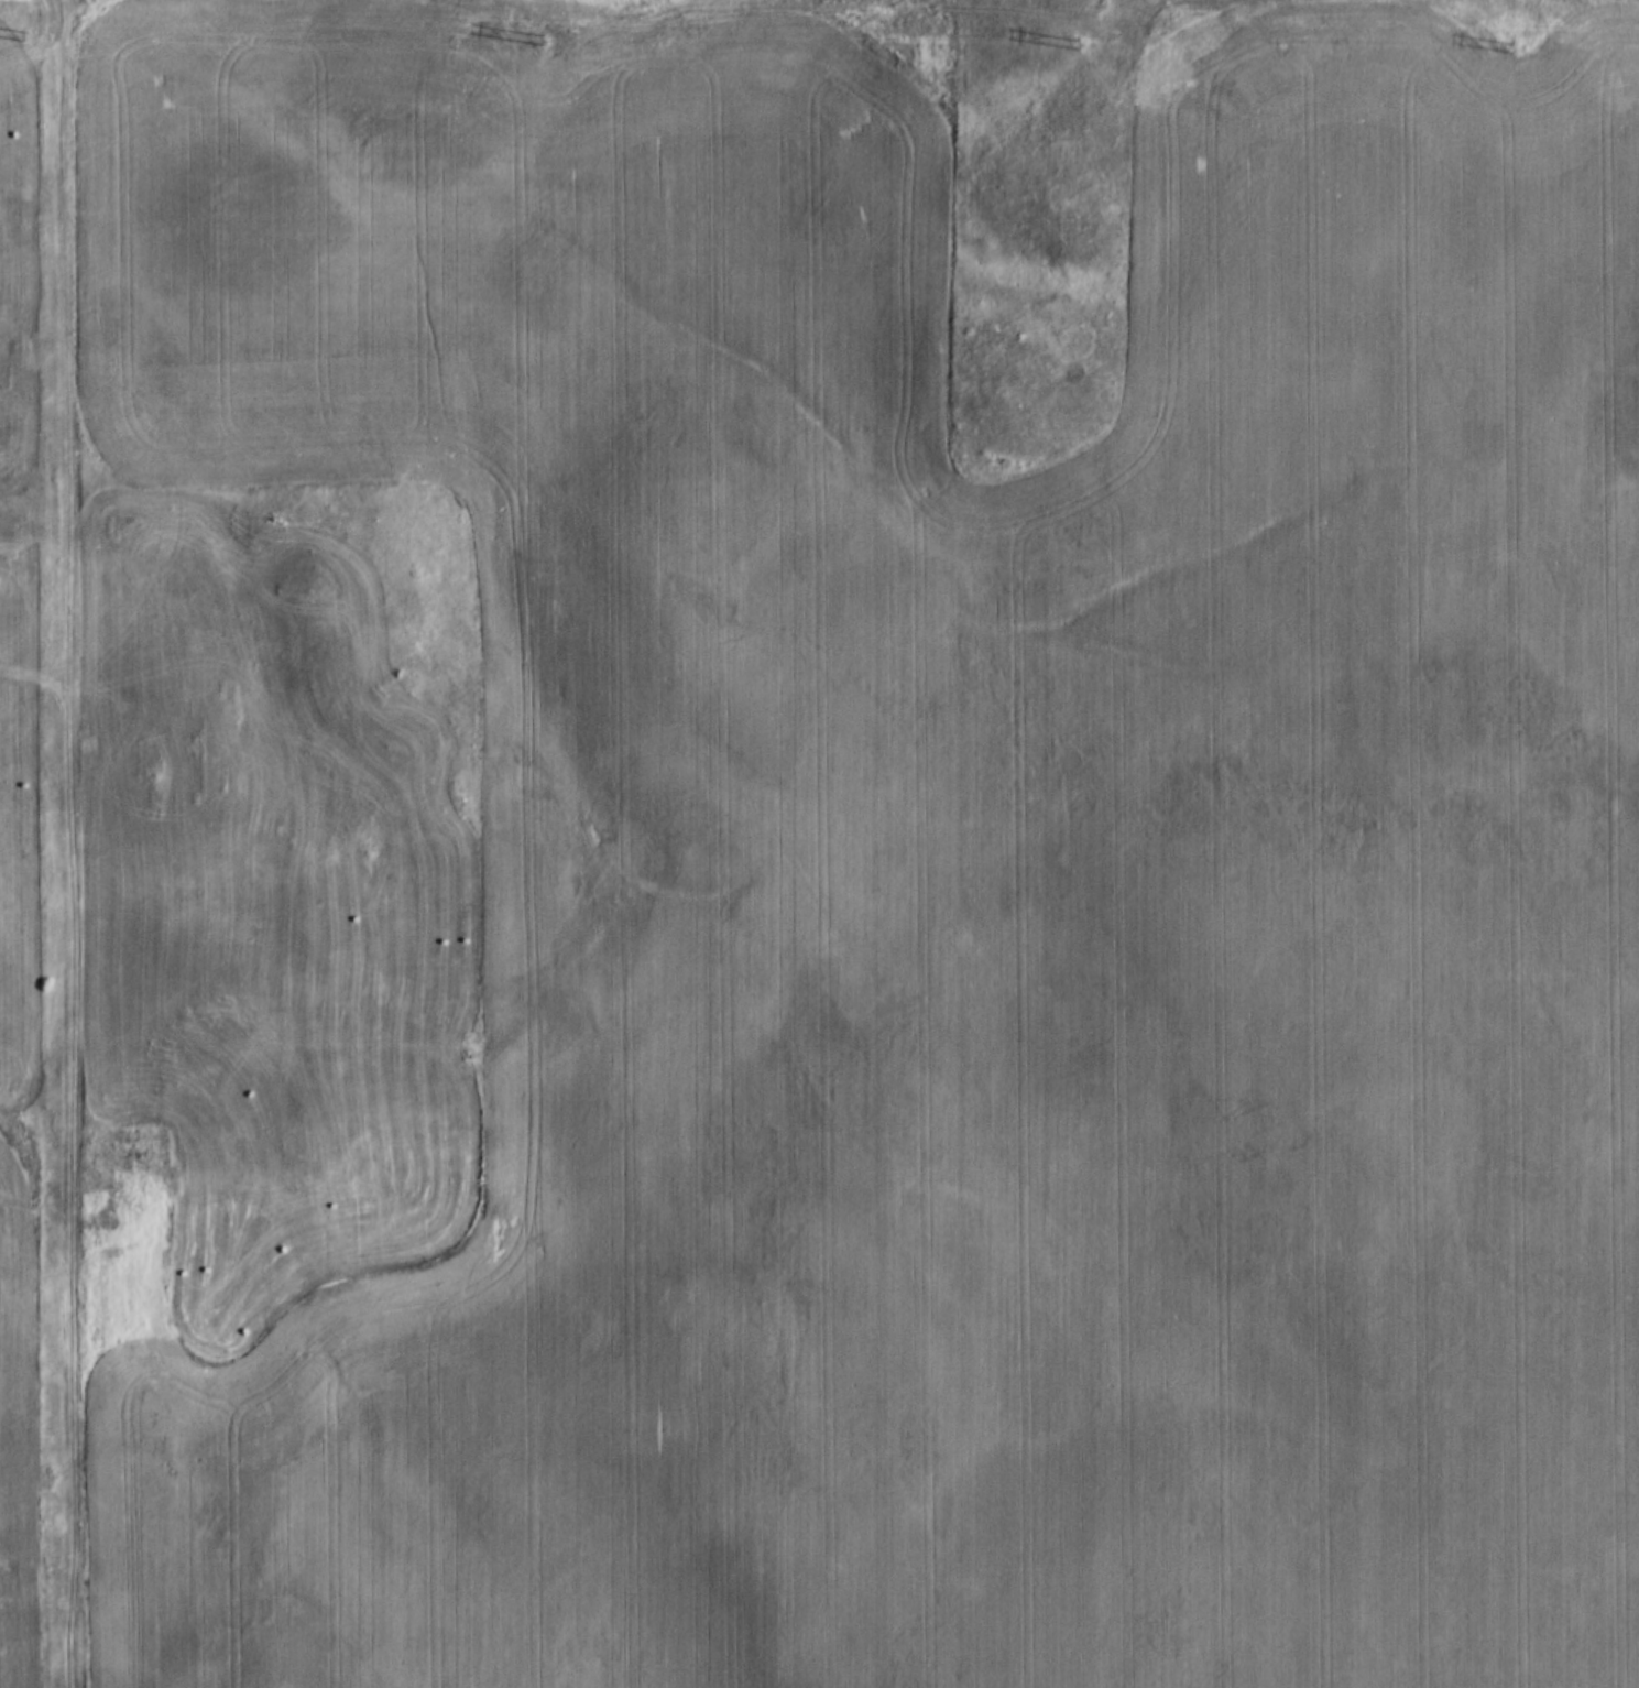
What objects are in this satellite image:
road: (1477, 0)
road: (75, 834)

